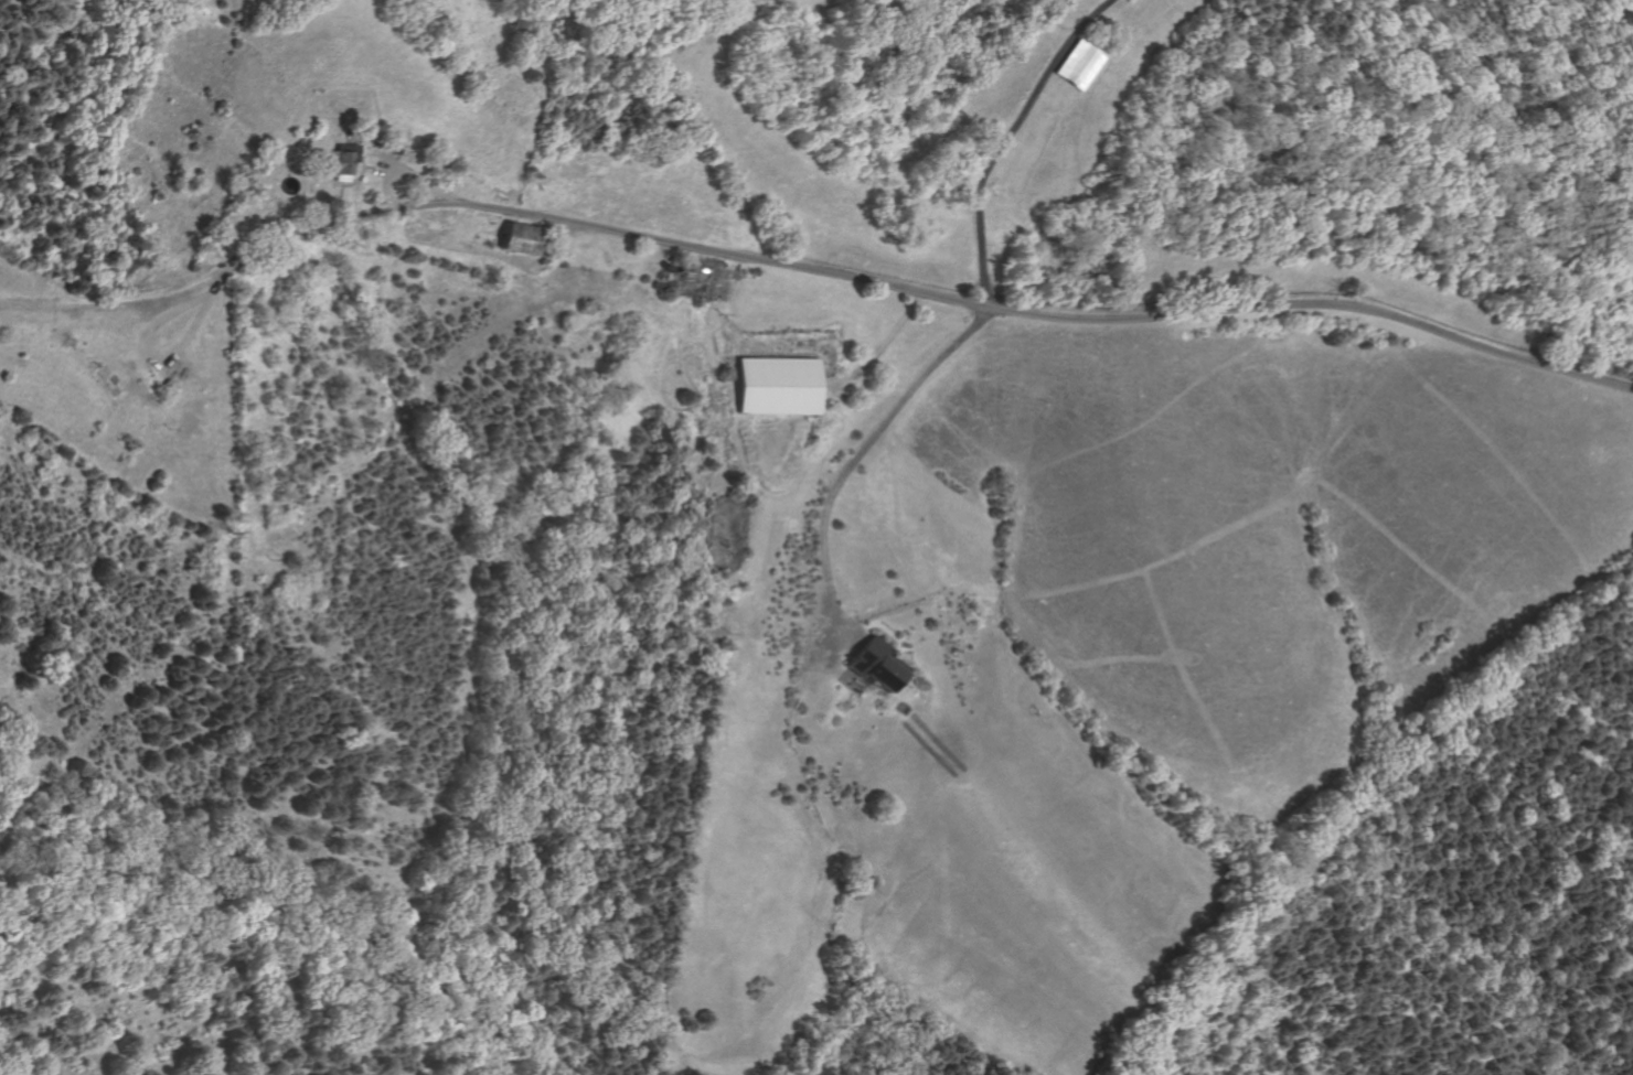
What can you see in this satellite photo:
building: (1078, 64)
road: (1002, 139)
building: (394, 150)
building: (339, 161)
road: (371, 166)
road: (386, 170)
road: (360, 176)
road: (341, 200)
road: (289, 223)
building: (526, 239)
road: (250, 252)
building: (697, 280)
building: (659, 284)
building: (669, 286)
road: (118, 304)
road: (1014, 312)
road: (887, 335)
building: (109, 383)
building: (168, 384)
building: (780, 387)
building: (159, 395)
road: (853, 463)
road: (879, 633)
road: (830, 642)
building: (876, 664)

